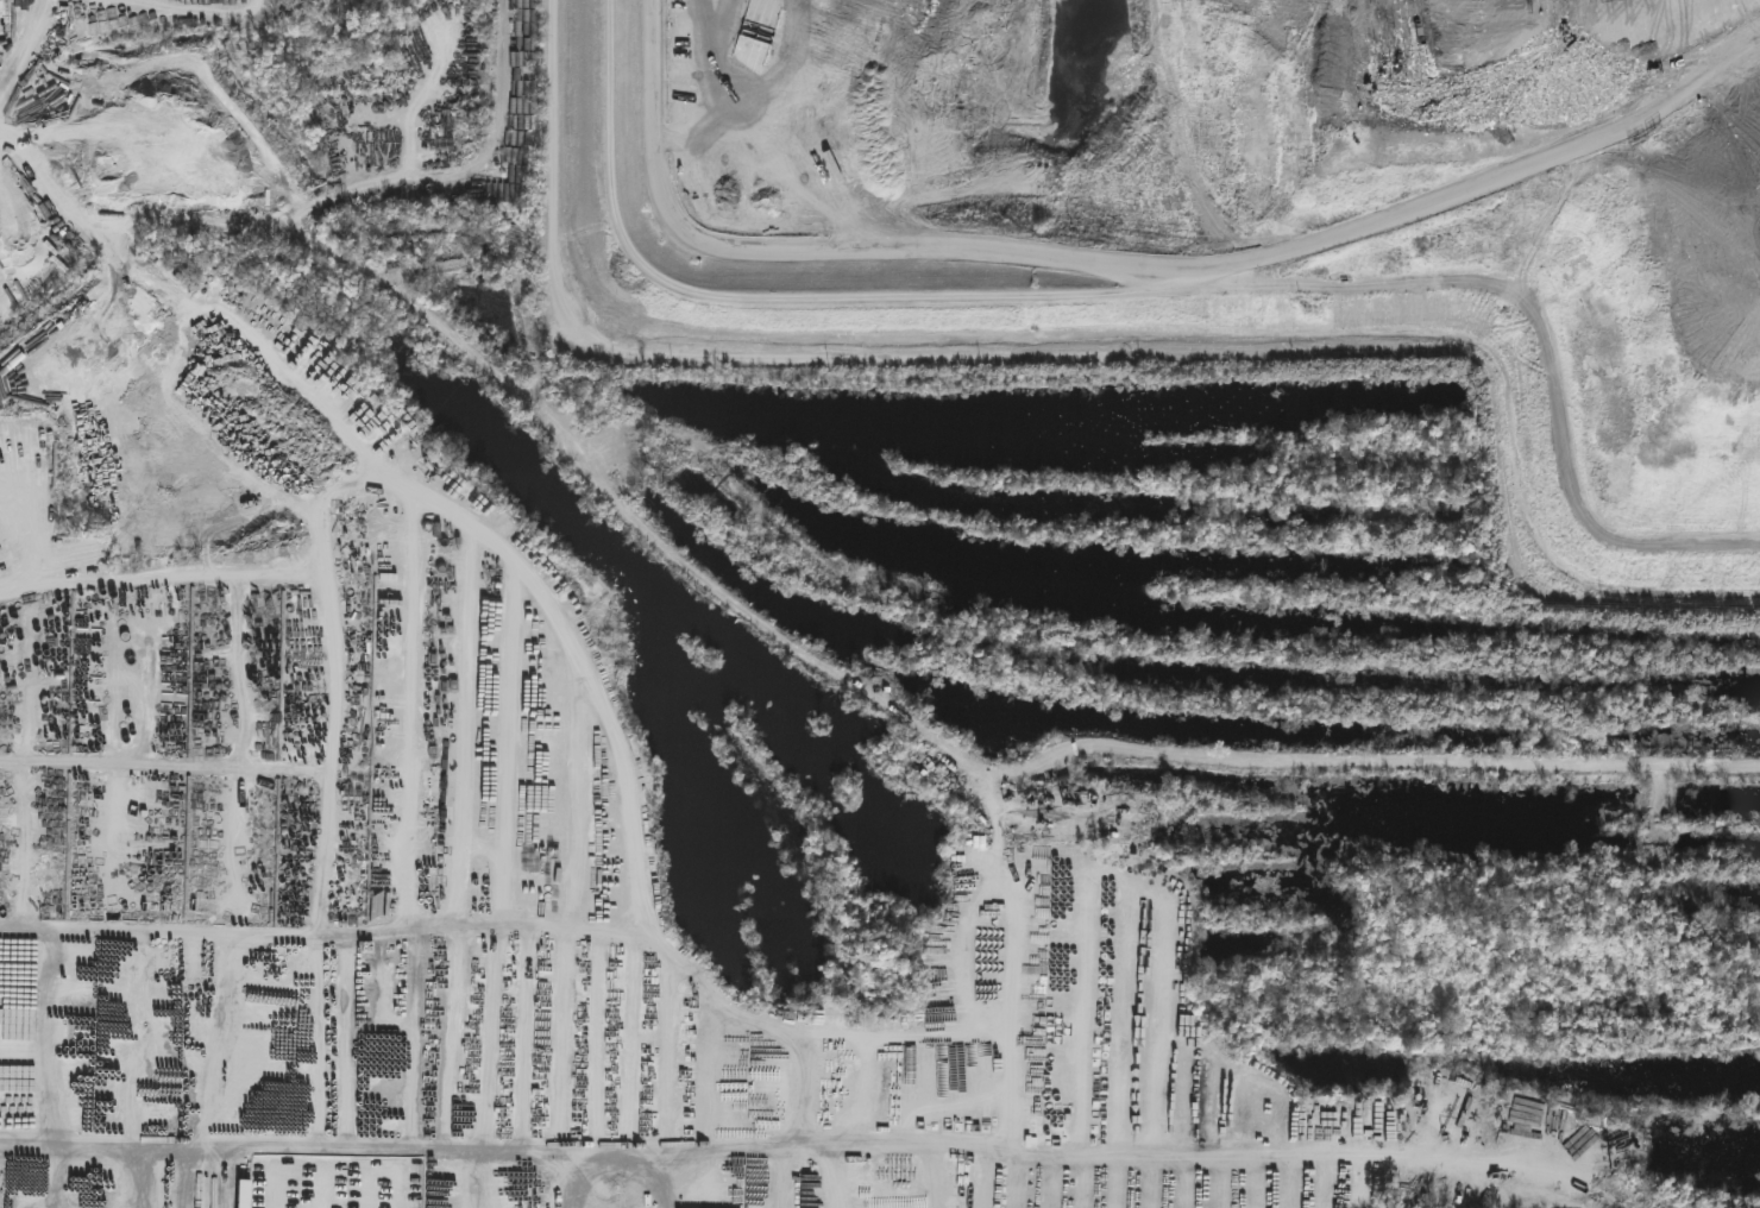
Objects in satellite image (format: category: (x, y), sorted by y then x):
road: (29, 58)
landfill: (1214, 215)
road: (1120, 266)
building: (935, 1187)

